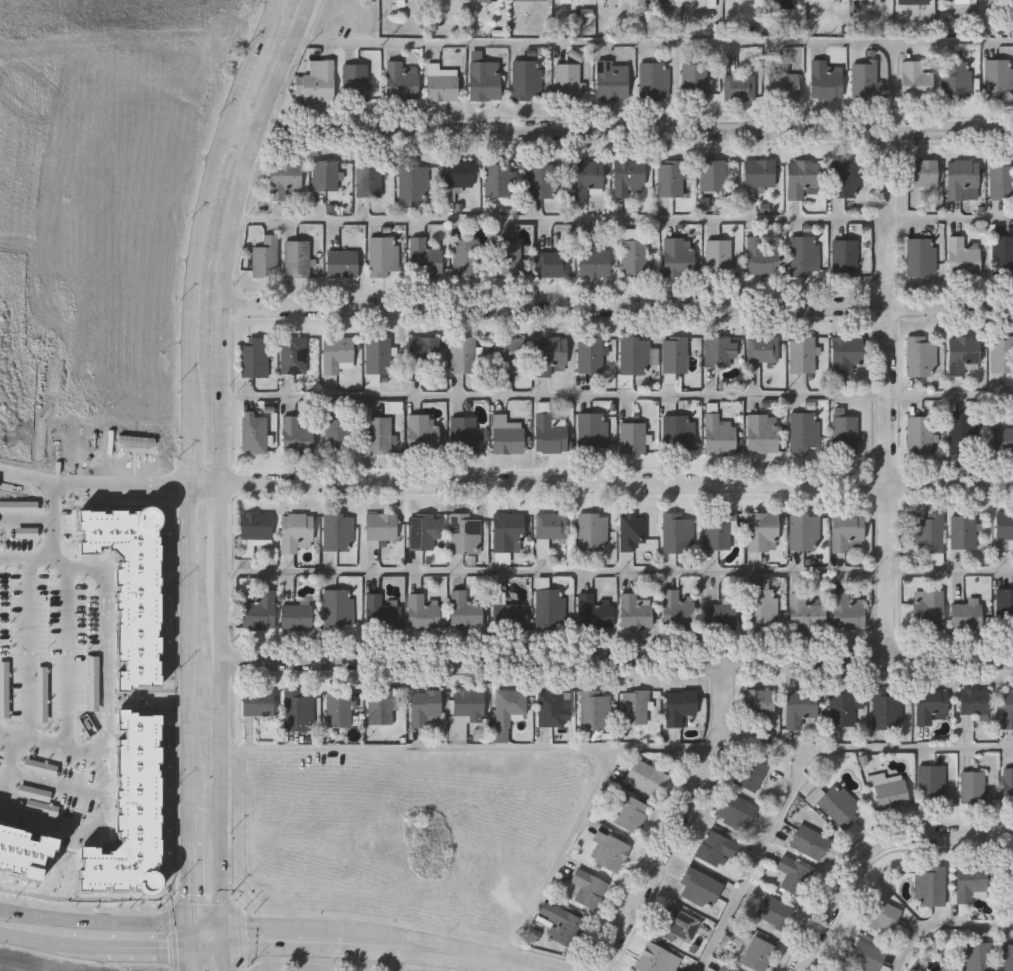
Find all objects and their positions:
building: (417, 0)
building: (961, 0)
building: (986, 0)
building: (483, 1)
building: (532, 1)
building: (914, 1)
building: (613, 2)
building: (660, 2)
building: (713, 4)
building: (788, 4)
road: (910, 42)
road: (596, 43)
building: (957, 78)
building: (999, 78)
building: (527, 79)
building: (612, 79)
building: (864, 79)
building: (319, 80)
building: (484, 80)
building: (654, 80)
building: (825, 80)
building: (915, 80)
building: (354, 81)
building: (400, 81)
building: (567, 81)
building: (694, 81)
building: (441, 83)
building: (739, 86)
building: (783, 86)
road: (622, 130)
building: (457, 172)
building: (759, 172)
building: (922, 172)
building: (325, 174)
building: (712, 174)
building: (629, 176)
building: (283, 177)
building: (585, 177)
building: (801, 177)
building: (497, 178)
building: (671, 178)
building: (845, 178)
building: (368, 179)
building: (541, 179)
building: (963, 179)
building: (1001, 180)
building: (414, 182)
road: (626, 218)
building: (561, 237)
road: (234, 238)
building: (921, 255)
building: (963, 255)
building: (1002, 255)
building: (381, 256)
building: (425, 256)
building: (634, 256)
building: (719, 256)
building: (805, 256)
building: (265, 257)
building: (464, 257)
building: (679, 257)
building: (761, 257)
building: (844, 257)
building: (297, 258)
building: (512, 258)
building: (343, 263)
building: (552, 263)
building: (593, 263)
road: (620, 310)
building: (763, 348)
building: (423, 350)
building: (717, 351)
building: (336, 353)
building: (802, 353)
building: (962, 353)
building: (1002, 353)
building: (463, 354)
building: (549, 354)
building: (590, 354)
building: (675, 354)
building: (846, 354)
building: (294, 355)
building: (378, 355)
building: (508, 355)
building: (635, 355)
building: (921, 356)
building: (255, 357)
road: (620, 394)
road: (890, 395)
building: (394, 408)
building: (593, 429)
building: (804, 430)
building: (677, 431)
building: (964, 431)
building: (254, 432)
building: (719, 432)
building: (763, 432)
building: (422, 433)
building: (919, 433)
building: (377, 434)
building: (462, 434)
building: (549, 434)
building: (845, 434)
building: (296, 435)
building: (507, 435)
building: (632, 437)
building: (338, 438)
building: (1001, 439)
building: (138, 445)
road: (195, 454)
road: (97, 482)
road: (619, 486)
road: (211, 489)
road: (57, 500)
building: (16, 509)
building: (381, 525)
building: (549, 526)
building: (1004, 527)
building: (846, 529)
building: (423, 530)
building: (593, 530)
building: (717, 530)
building: (805, 530)
building: (254, 531)
building: (338, 531)
building: (508, 531)
building: (631, 531)
building: (762, 531)
building: (964, 531)
building: (295, 532)
building: (678, 532)
building: (928, 532)
building: (465, 533)
road: (227, 538)
building: (542, 554)
road: (29, 560)
road: (620, 570)
building: (133, 588)
building: (1005, 605)
building: (550, 607)
building: (763, 607)
building: (338, 608)
building: (677, 608)
building: (929, 608)
building: (258, 609)
building: (382, 610)
building: (464, 610)
building: (635, 610)
building: (847, 611)
building: (422, 612)
building: (593, 612)
building: (805, 612)
building: (297, 614)
building: (507, 614)
building: (966, 614)
building: (721, 615)
road: (30, 649)
road: (619, 662)
road: (105, 678)
road: (67, 679)
building: (257, 701)
building: (758, 701)
building: (975, 701)
building: (930, 703)
building: (381, 706)
building: (424, 706)
building: (635, 706)
building: (679, 706)
building: (339, 707)
building: (509, 707)
building: (554, 707)
building: (800, 707)
building: (842, 707)
building: (1008, 707)
building: (887, 708)
building: (465, 709)
building: (597, 709)
building: (298, 710)
road: (2, 731)
building: (764, 738)
road: (80, 748)
road: (474, 748)
road: (227, 755)
road: (799, 768)
building: (751, 774)
building: (646, 777)
building: (932, 782)
building: (1008, 785)
building: (973, 786)
building: (889, 791)
building: (839, 805)
building: (736, 811)
building: (132, 812)
building: (630, 812)
road: (684, 822)
road: (51, 824)
building: (806, 840)
building: (716, 847)
road: (875, 850)
building: (25, 851)
building: (611, 852)
road: (562, 854)
building: (793, 874)
building: (970, 883)
building: (930, 884)
building: (1007, 885)
building: (588, 888)
building: (700, 888)
building: (774, 910)
building: (880, 914)
road: (99, 922)
traffic signals: (200, 923)
road: (213, 923)
building: (679, 923)
traffic signals: (228, 924)
building: (563, 924)
road: (942, 924)
road: (387, 934)
road: (200, 936)
road: (228, 936)
road: (99, 947)
traffic signals: (200, 949)
road: (214, 949)
traffic signals: (229, 949)
road: (371, 953)
building: (757, 953)
building: (863, 955)
building: (977, 956)
building: (1008, 957)
building: (657, 959)
road: (200, 960)
road: (230, 960)
road: (366, 962)
building: (723, 968)

